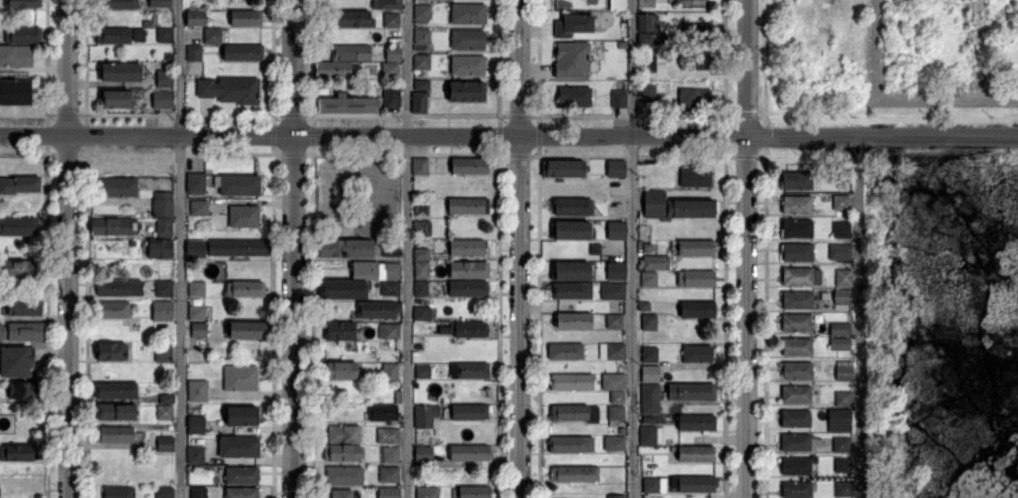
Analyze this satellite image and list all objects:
building: (22, 3)
building: (162, 3)
building: (116, 4)
building: (387, 4)
building: (422, 13)
building: (468, 14)
building: (196, 18)
building: (246, 18)
building: (354, 19)
building: (391, 19)
building: (648, 23)
building: (573, 25)
building: (702, 31)
building: (140, 34)
building: (24, 35)
building: (114, 35)
building: (165, 35)
building: (212, 35)
building: (422, 36)
building: (645, 39)
building: (467, 40)
building: (595, 45)
road: (977, 49)
building: (194, 52)
building: (243, 52)
building: (350, 53)
building: (394, 53)
building: (15, 56)
building: (572, 60)
building: (422, 61)
building: (700, 61)
building: (647, 64)
building: (468, 65)
road: (68, 67)
road: (746, 68)
building: (336, 69)
building: (390, 70)
building: (117, 72)
building: (164, 79)
building: (422, 84)
building: (231, 90)
building: (466, 91)
building: (15, 92)
building: (648, 93)
building: (391, 95)
building: (574, 96)
building: (695, 97)
road: (877, 98)
road: (998, 98)
building: (115, 99)
building: (161, 99)
building: (619, 99)
building: (419, 101)
building: (347, 104)
road: (34, 134)
road: (407, 136)
road: (882, 137)
building: (135, 165)
building: (421, 166)
building: (469, 166)
building: (563, 168)
building: (617, 169)
building: (696, 177)
building: (843, 178)
building: (799, 181)
building: (196, 183)
building: (240, 184)
building: (19, 185)
building: (118, 187)
building: (418, 194)
park: (358, 198)
building: (841, 202)
building: (468, 205)
building: (797, 205)
building: (163, 207)
building: (571, 207)
building: (675, 207)
building: (200, 208)
building: (421, 210)
building: (244, 216)
building: (114, 226)
building: (18, 227)
building: (165, 227)
building: (422, 228)
building: (796, 228)
building: (570, 229)
building: (842, 229)
building: (618, 230)
building: (646, 246)
building: (197, 247)
building: (240, 247)
building: (467, 247)
building: (160, 248)
road: (180, 248)
building: (345, 248)
building: (391, 248)
road: (521, 248)
road: (632, 248)
building: (697, 248)
road: (293, 249)
road: (406, 249)
building: (797, 252)
building: (841, 252)
building: (422, 255)
building: (655, 263)
building: (19, 268)
building: (375, 270)
building: (422, 270)
building: (469, 270)
building: (573, 270)
building: (799, 276)
building: (696, 278)
building: (844, 278)
building: (650, 279)
building: (119, 287)
building: (164, 288)
building: (390, 288)
building: (421, 288)
building: (468, 288)
building: (198, 289)
building: (245, 289)
building: (342, 290)
building: (572, 291)
building: (613, 291)
building: (843, 296)
building: (798, 300)
building: (645, 306)
building: (25, 308)
building: (377, 309)
building: (113, 310)
building: (699, 310)
building: (163, 311)
building: (197, 313)
building: (423, 314)
road: (68, 316)
road: (745, 317)
road: (858, 317)
building: (441, 318)
building: (573, 321)
building: (615, 321)
building: (649, 322)
building: (797, 322)
building: (841, 328)
building: (199, 329)
building: (469, 329)
building: (341, 330)
building: (22, 331)
building: (250, 331)
building: (389, 331)
building: (840, 344)
building: (798, 346)
building: (111, 351)
building: (567, 351)
building: (612, 352)
building: (164, 353)
building: (650, 354)
building: (698, 354)
building: (15, 361)
building: (845, 370)
building: (343, 371)
building: (423, 371)
building: (469, 371)
building: (798, 371)
building: (390, 372)
building: (651, 374)
building: (241, 379)
building: (572, 381)
building: (614, 382)
building: (25, 390)
building: (115, 390)
building: (196, 391)
building: (343, 391)
building: (696, 392)
building: (650, 394)
building: (797, 394)
building: (398, 397)
building: (618, 397)
building: (844, 398)
building: (168, 399)
building: (651, 409)
building: (470, 411)
building: (116, 412)
building: (165, 413)
building: (383, 413)
building: (575, 413)
building: (616, 415)
building: (242, 416)
building: (426, 416)
building: (796, 418)
building: (842, 418)
building: (650, 419)
building: (697, 423)
building: (197, 425)
building: (622, 430)
building: (344, 434)
building: (116, 435)
building: (651, 435)
building: (389, 436)
building: (669, 442)
building: (799, 442)
building: (615, 443)
building: (167, 444)
building: (841, 444)
building: (571, 445)
building: (240, 447)
building: (18, 453)
building: (342, 453)
building: (470, 453)
building: (693, 453)
building: (196, 455)
building: (392, 455)
building: (424, 455)
building: (842, 464)
building: (797, 466)
building: (649, 468)
building: (575, 474)
building: (345, 475)
building: (388, 475)
building: (242, 476)
building: (694, 484)
building: (654, 485)
building: (843, 488)
building: (798, 490)
building: (166, 492)
building: (242, 492)
building: (389, 492)
building: (475, 492)
building: (119, 493)
building: (199, 493)
building: (342, 493)
building: (428, 493)
building: (616, 496)

